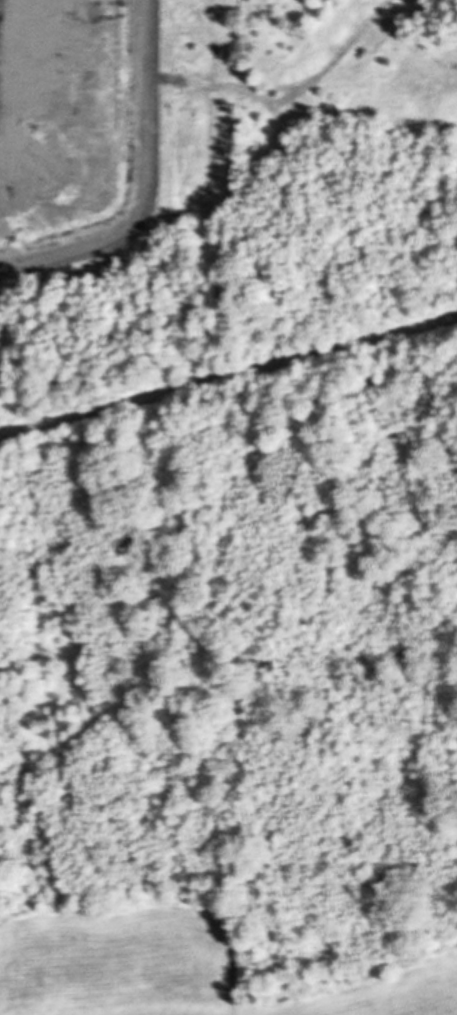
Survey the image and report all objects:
landfill: (214, 158)
road: (228, 381)
crop: (124, 961)

